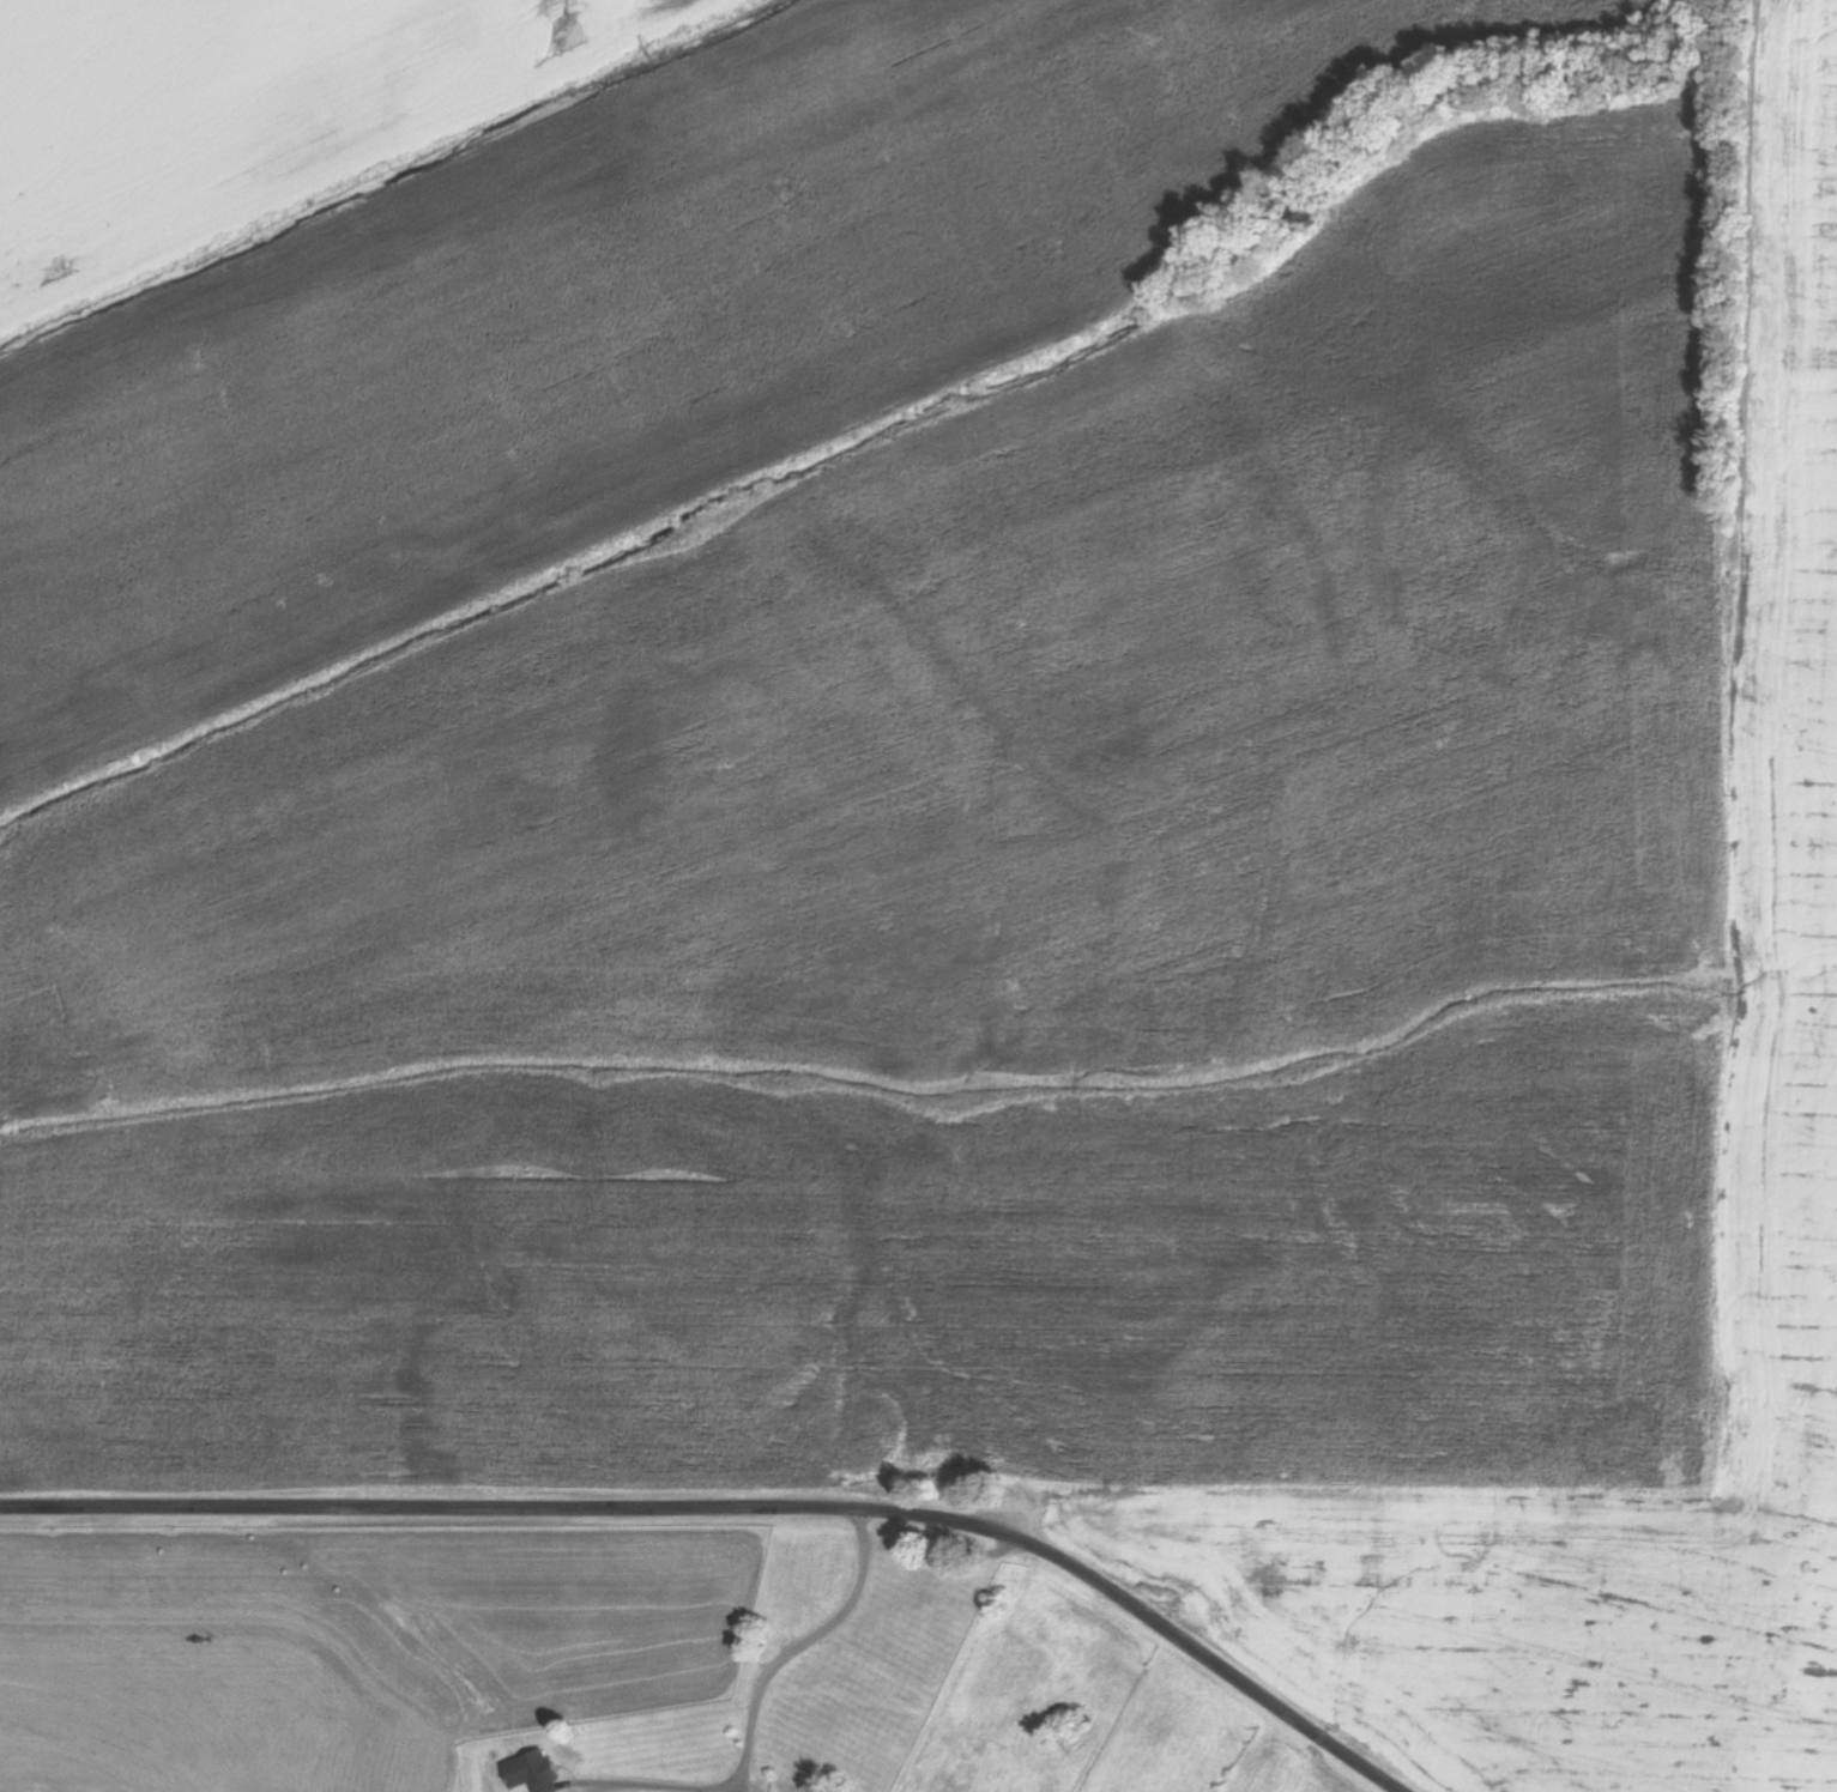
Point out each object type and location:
crop: (627, 320)
road: (742, 1505)
building: (530, 1773)

